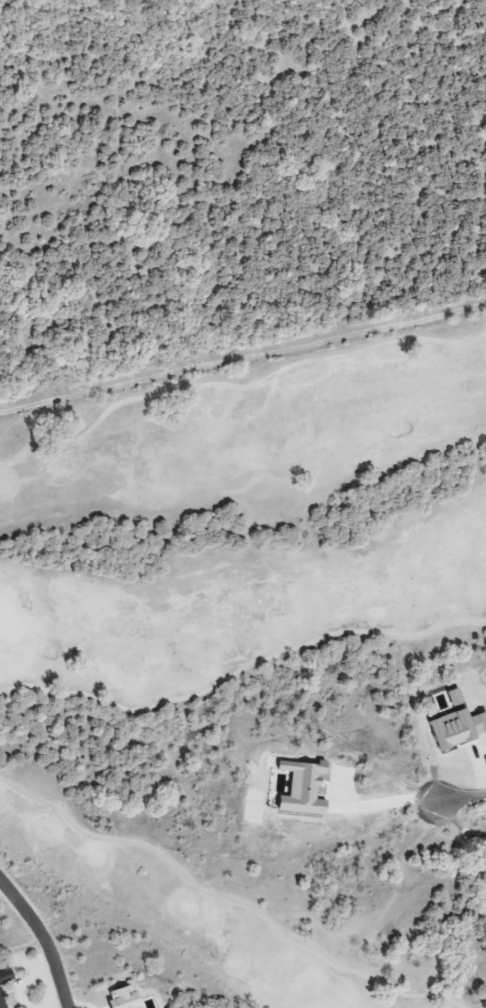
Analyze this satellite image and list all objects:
road: (242, 354)
road: (235, 386)
road: (240, 669)
park: (250, 682)
road: (457, 798)
road: (229, 898)
road: (43, 939)
building: (120, 998)

